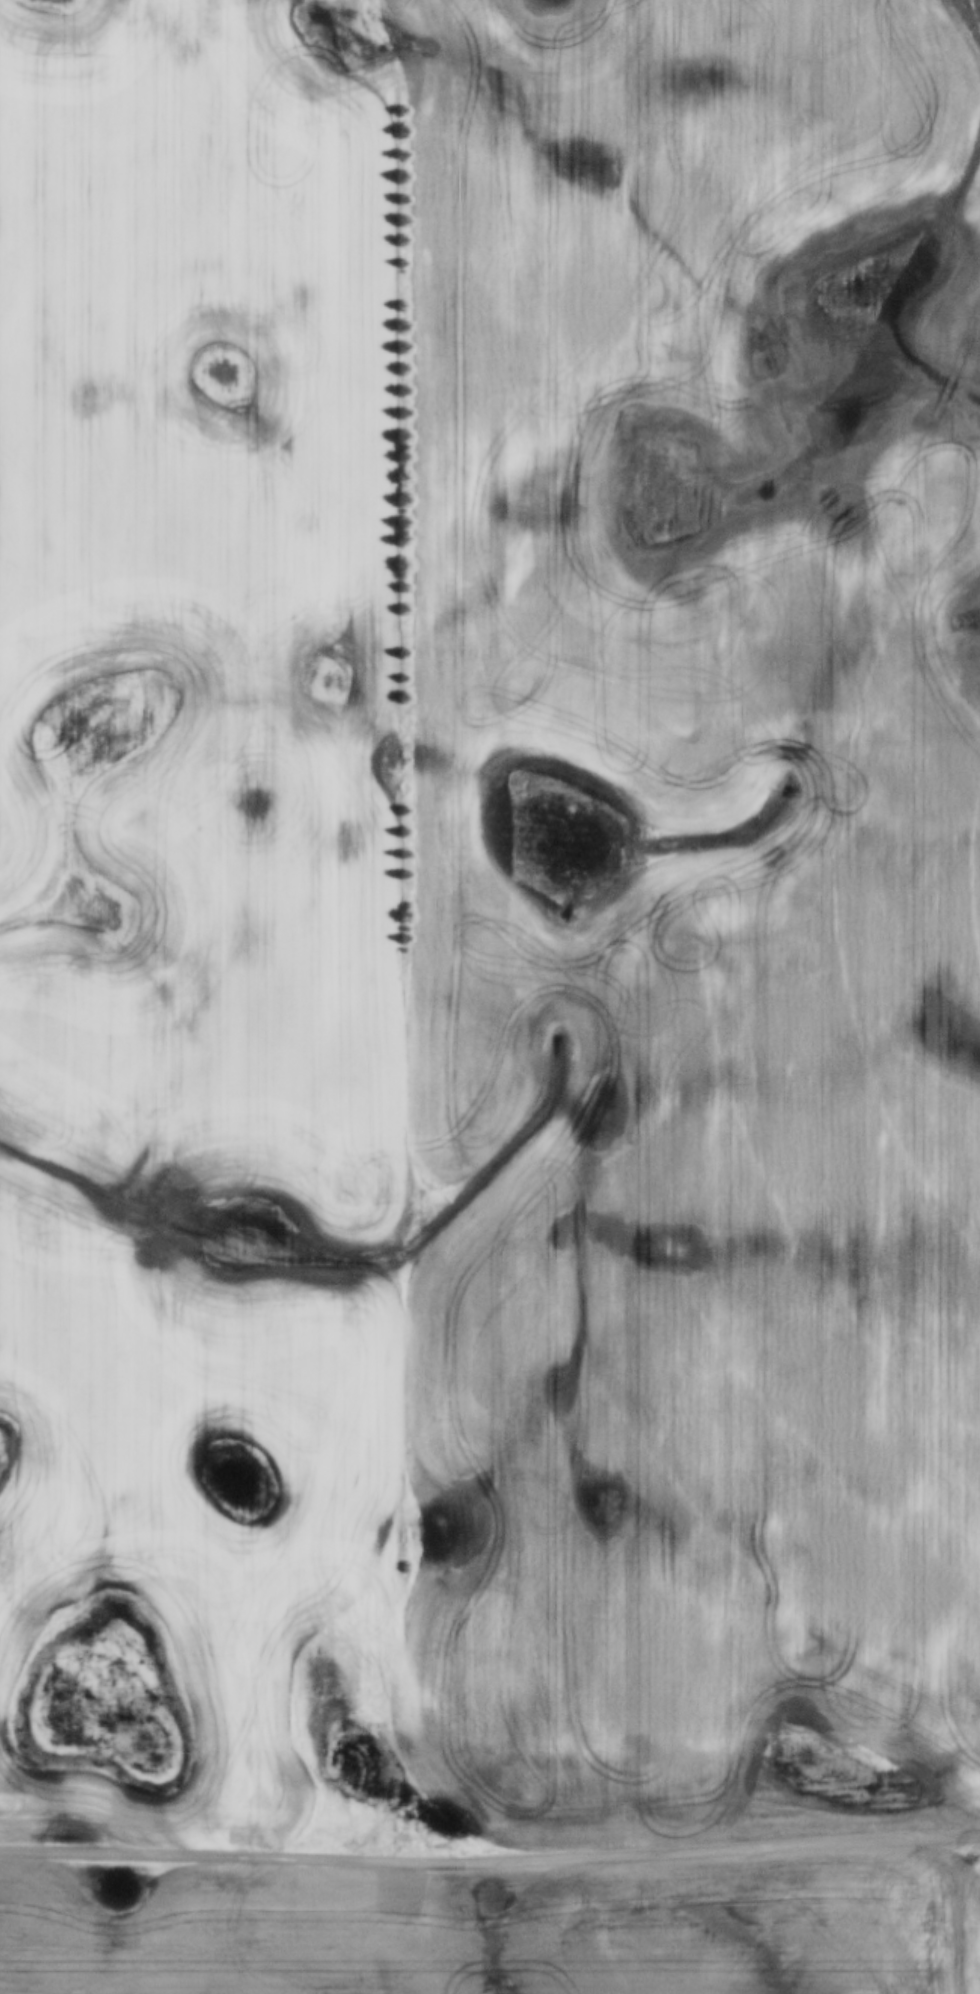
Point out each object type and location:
road: (490, 1860)
road: (973, 1935)

